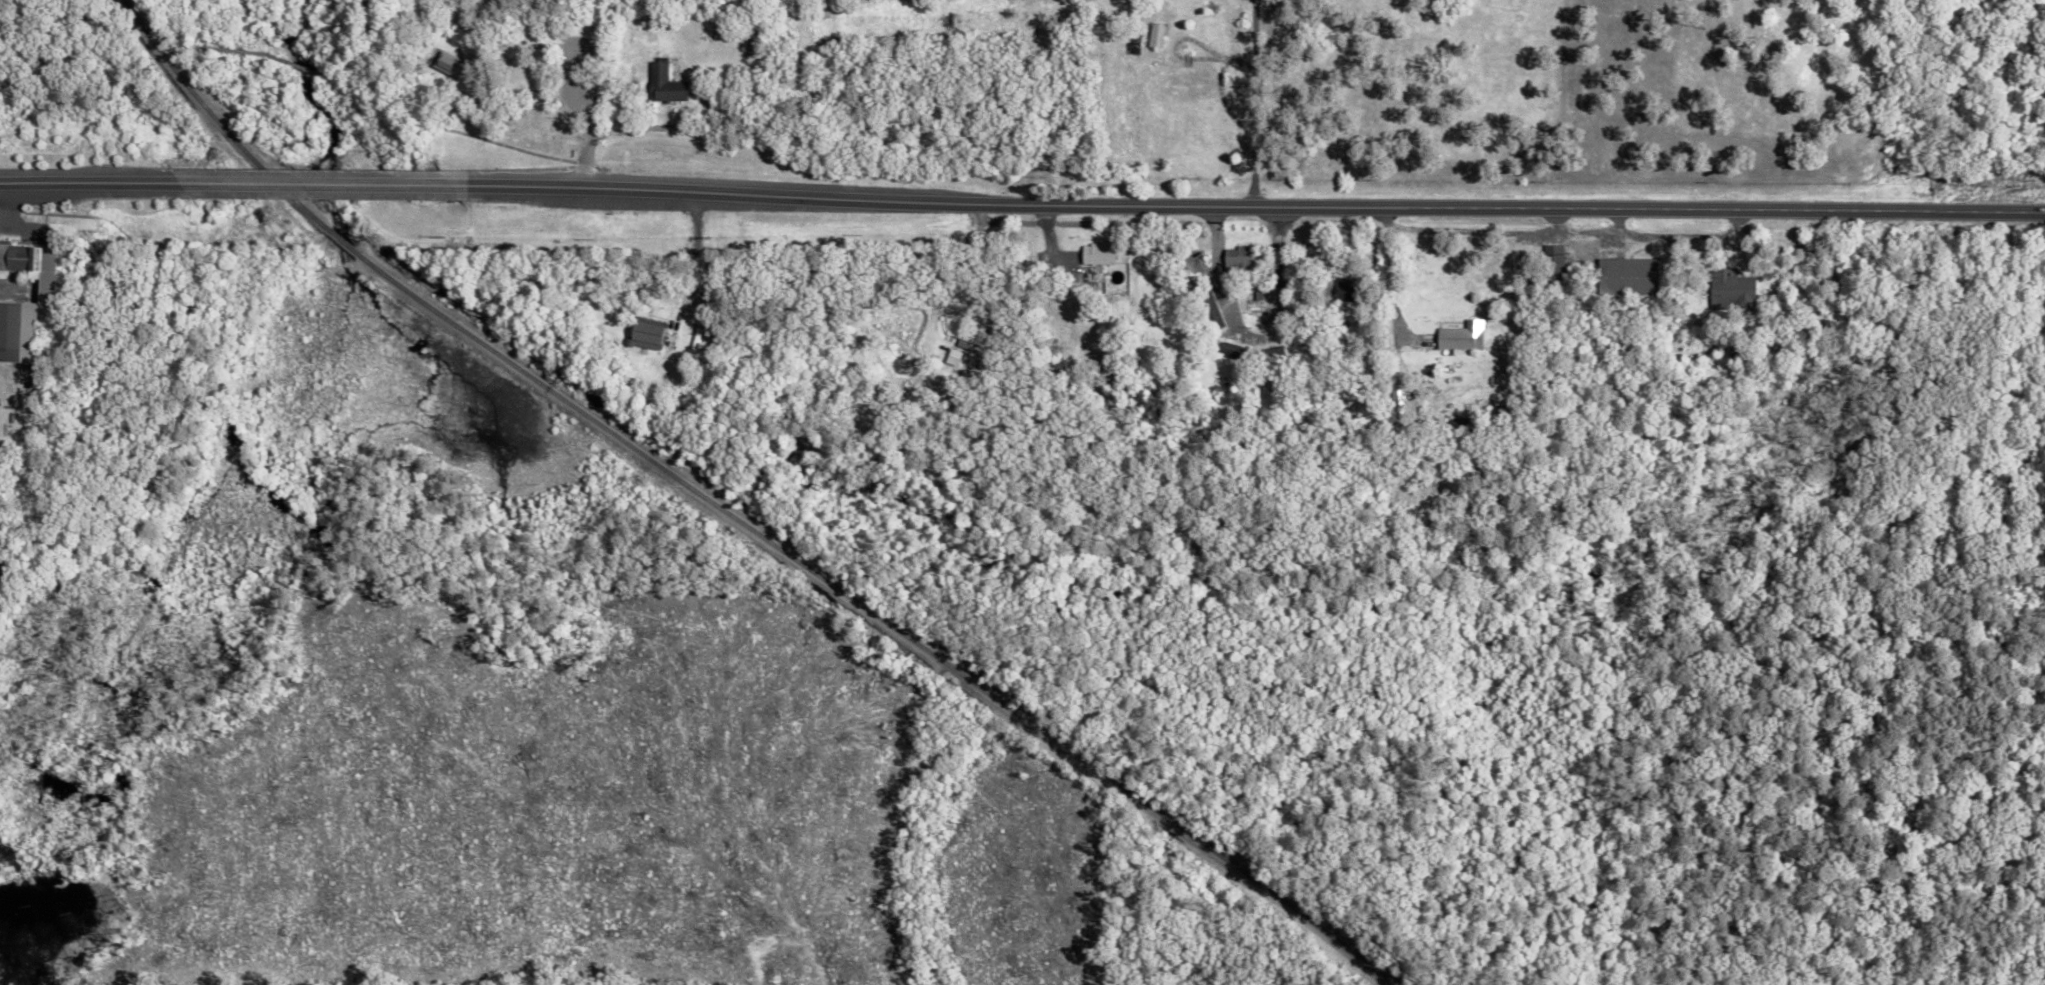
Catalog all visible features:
road: (195, 23)
building: (1154, 34)
building: (751, 40)
building: (448, 63)
park: (409, 74)
road: (346, 81)
building: (664, 84)
road: (1250, 103)
railway: (223, 121)
road: (88, 181)
road: (325, 182)
road: (8, 206)
road: (1259, 206)
railway: (349, 241)
building: (1095, 254)
building: (1241, 256)
road: (697, 257)
building: (1554, 260)
building: (31, 265)
building: (1628, 275)
road: (1386, 279)
railway: (403, 283)
building: (1346, 288)
building: (1731, 289)
building: (17, 331)
building: (646, 335)
road: (1249, 335)
building: (1462, 336)
building: (1230, 349)
building: (952, 357)
building: (1399, 400)
railway: (917, 644)

